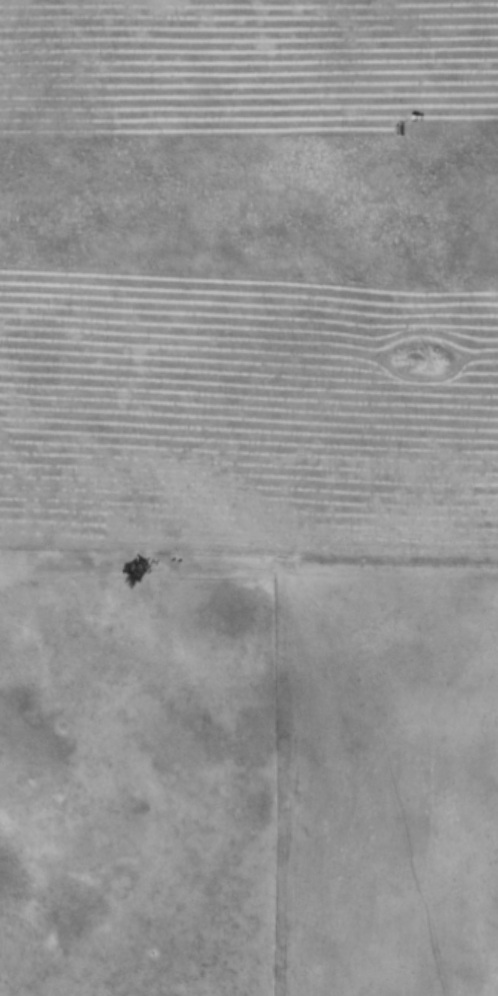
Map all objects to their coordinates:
road: (249, 565)

